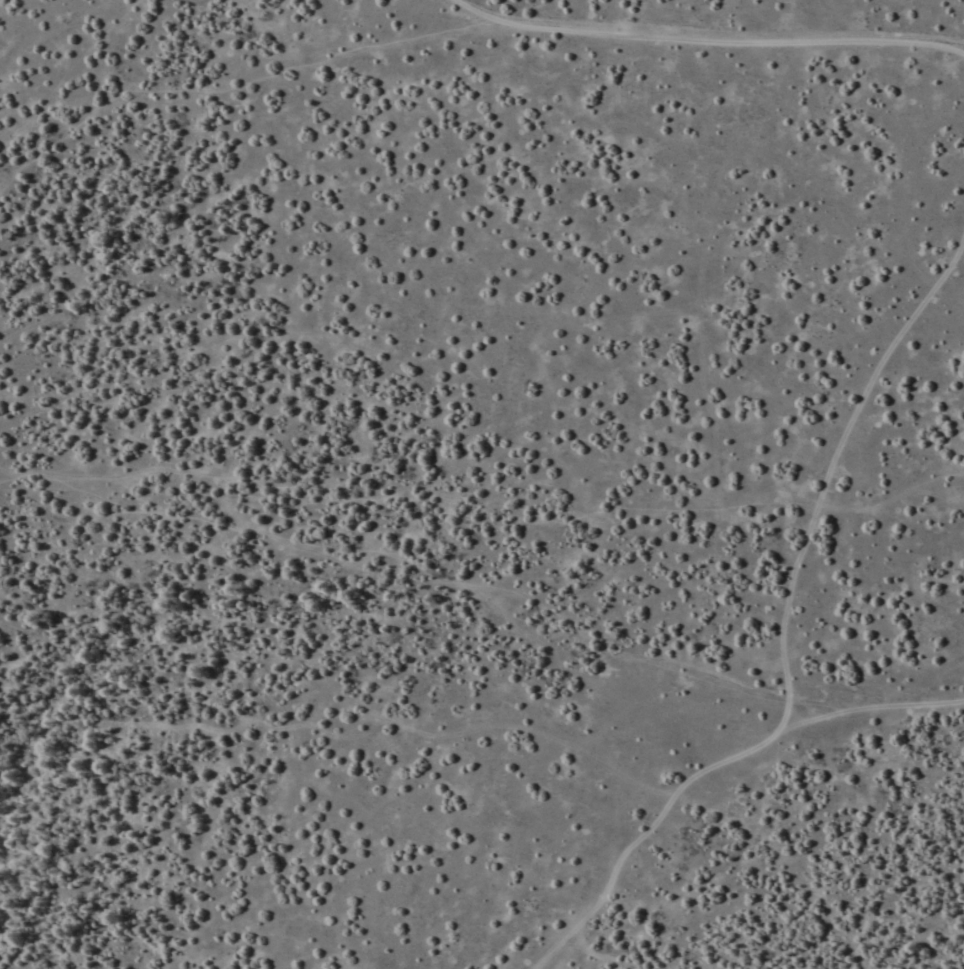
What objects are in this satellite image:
road: (710, 35)

